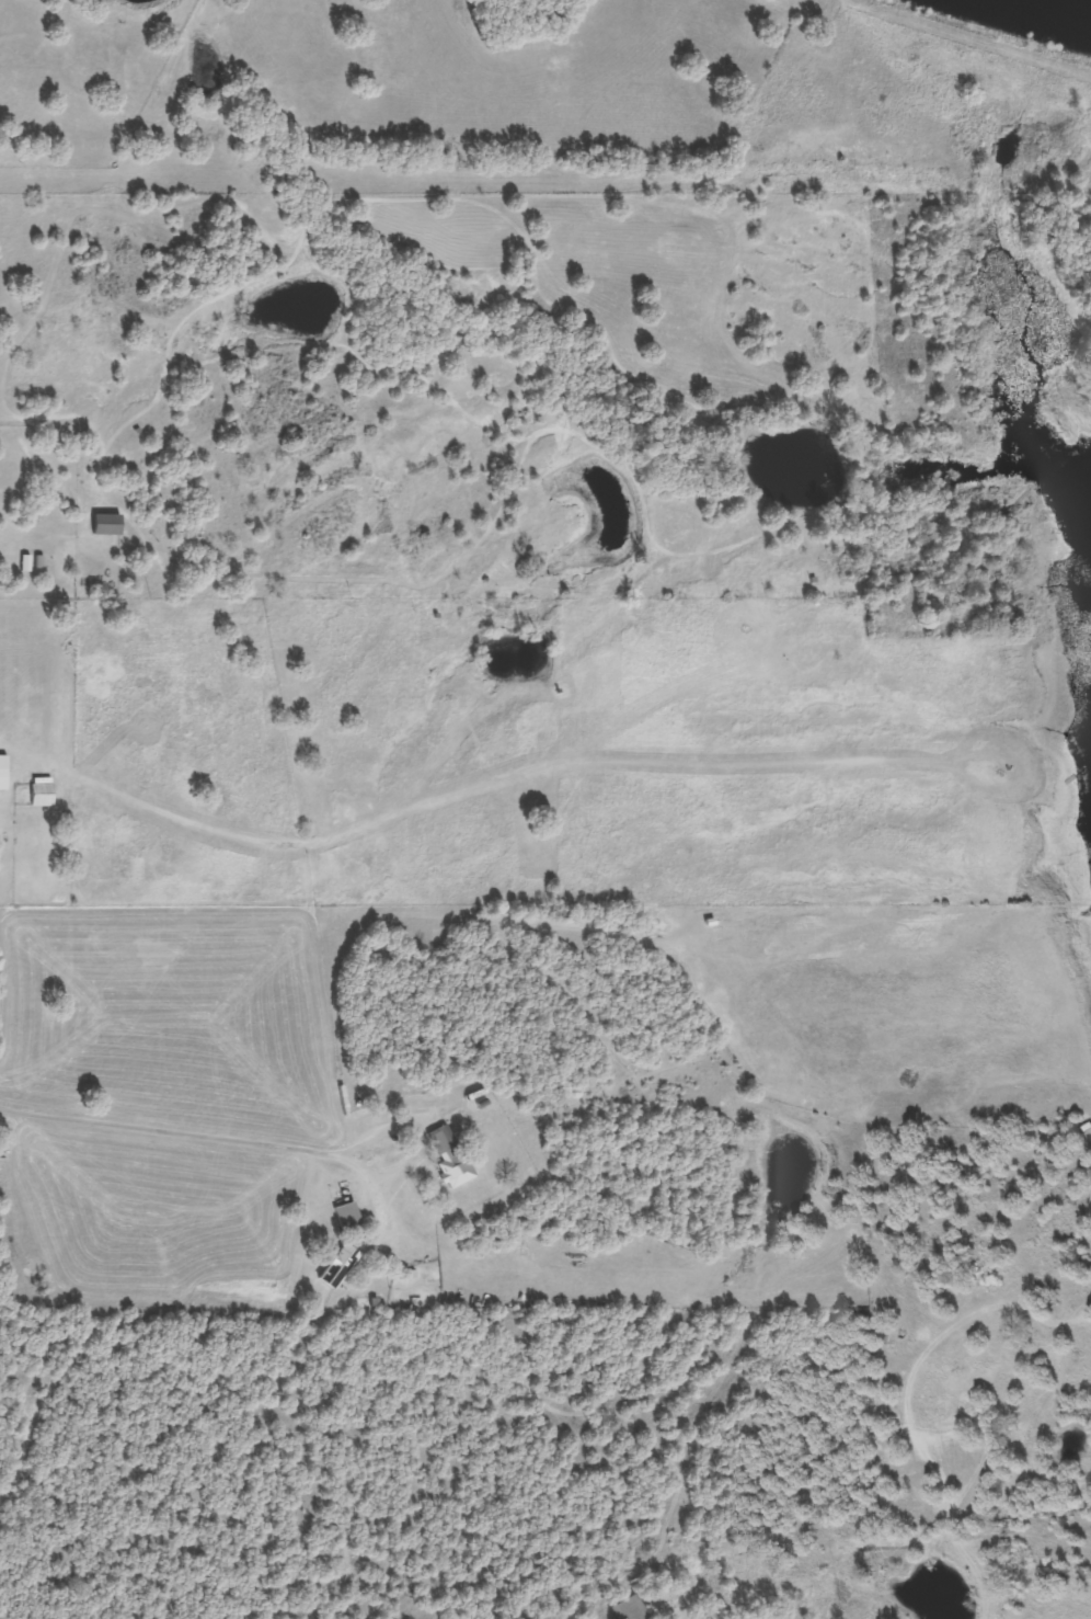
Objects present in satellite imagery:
building: (104, 524)
building: (1, 772)
building: (39, 795)
road: (166, 1131)
road: (421, 1133)
building: (446, 1161)
building: (345, 1216)
building: (336, 1265)
building: (627, 1609)

